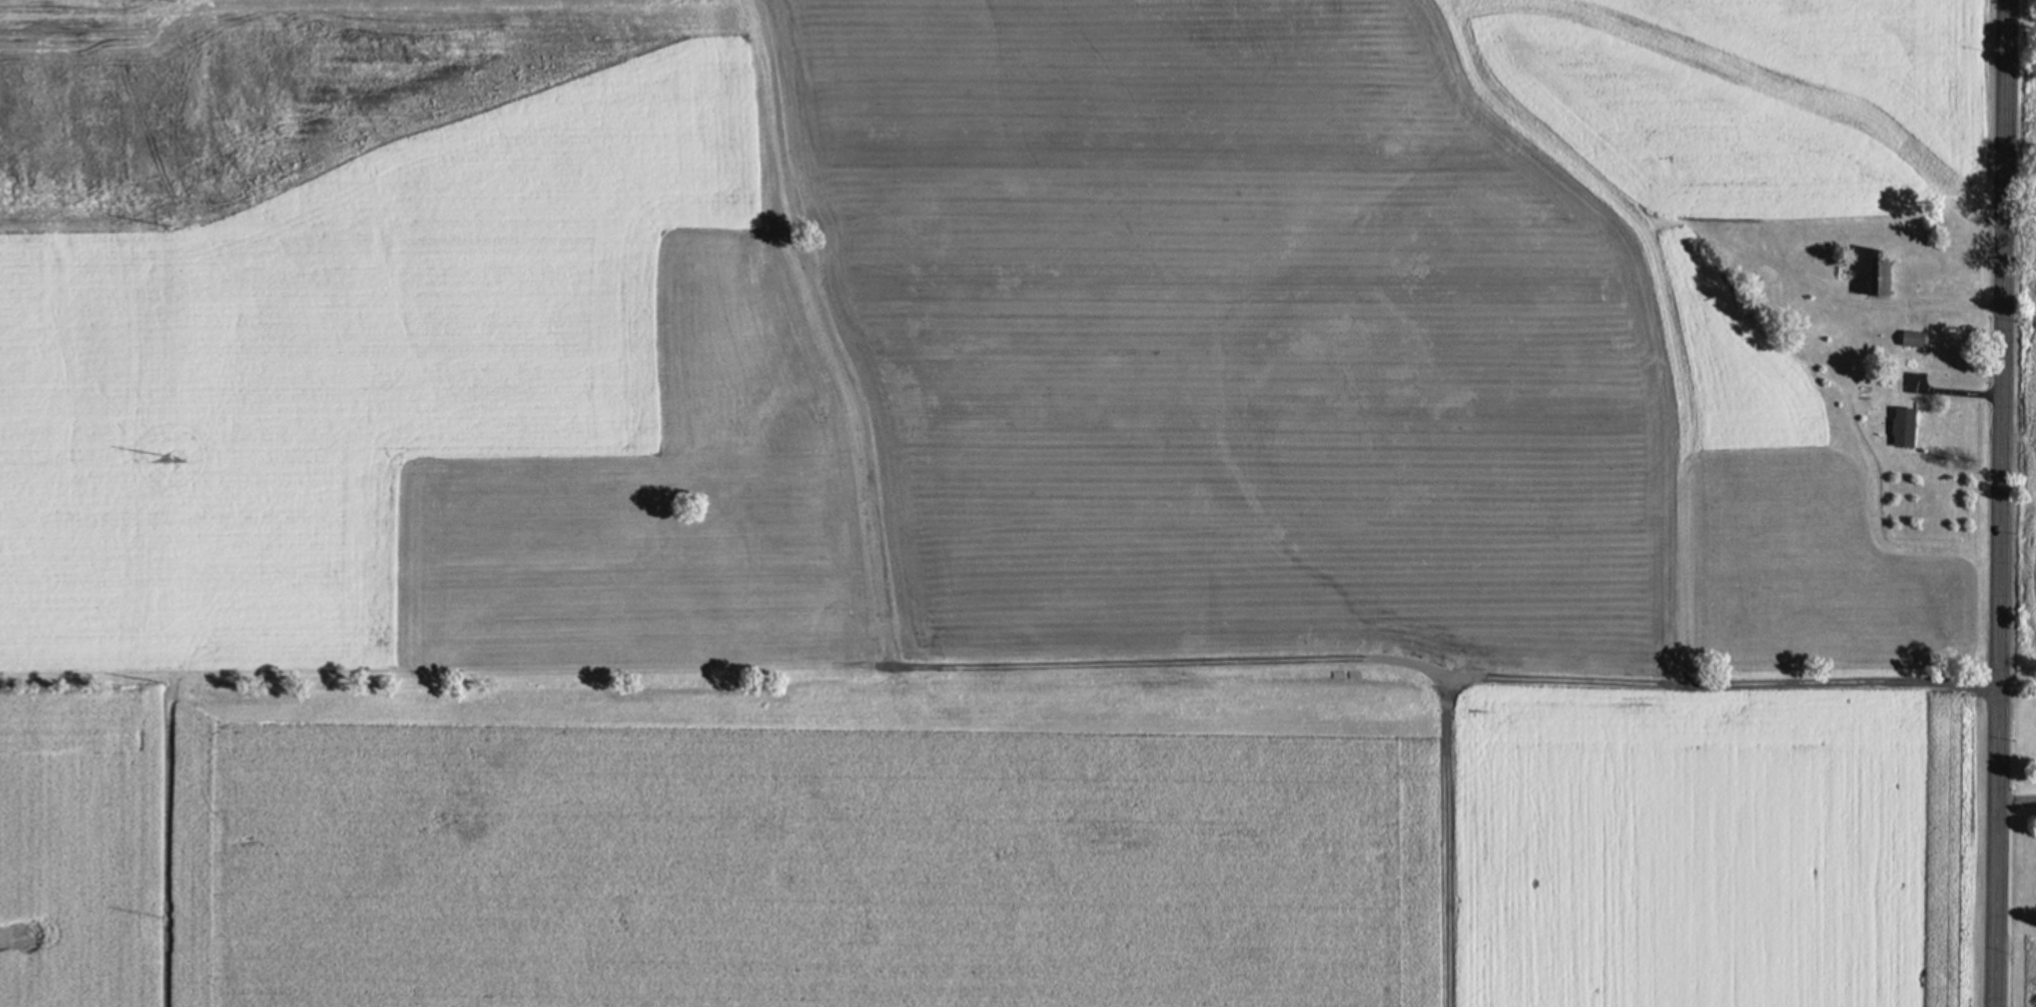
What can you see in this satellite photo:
building: (1882, 277)
building: (1951, 332)
building: (1916, 338)
building: (1907, 427)
road: (2000, 503)
road: (2016, 800)

